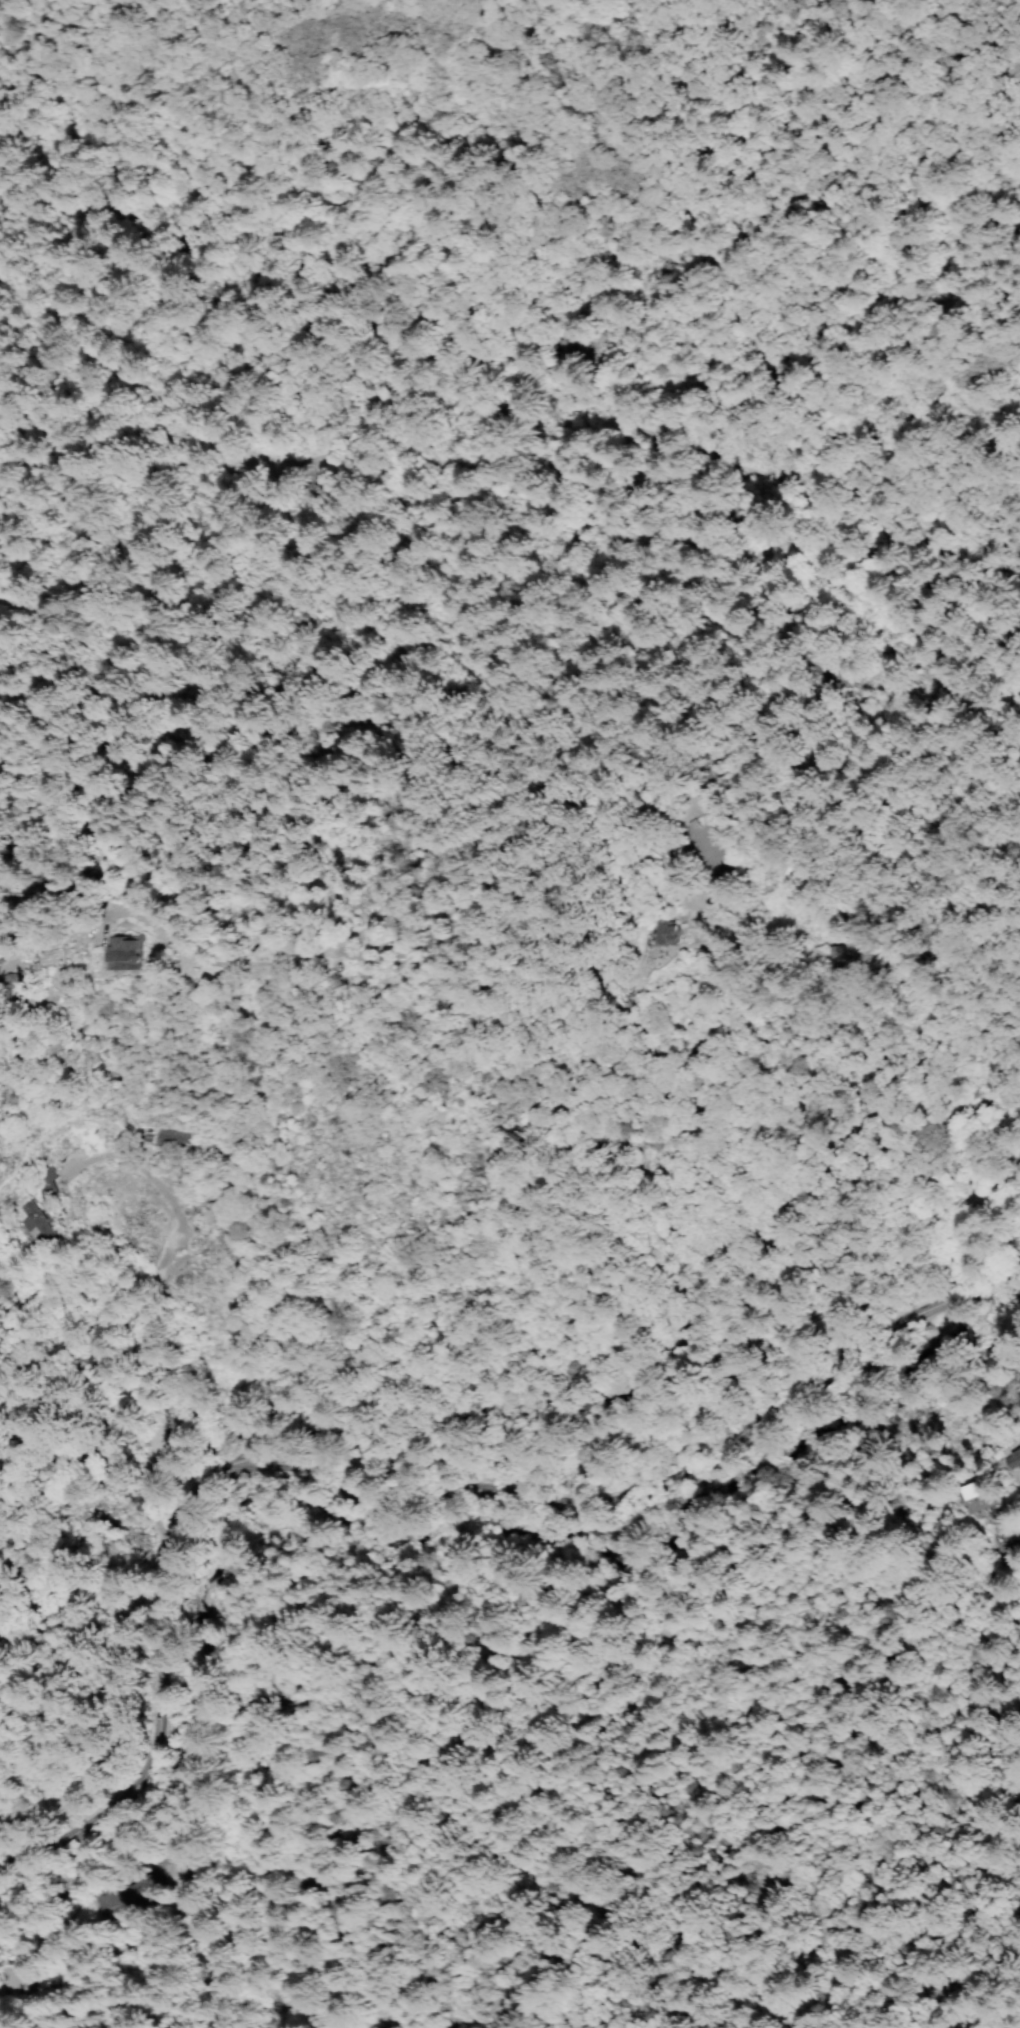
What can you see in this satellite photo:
road: (320, 476)
road: (628, 815)
crop: (854, 878)
building: (659, 932)
road: (851, 933)
building: (121, 950)
building: (831, 959)
building: (166, 1138)
building: (42, 1182)
building: (28, 1223)
road: (153, 1273)
road: (1017, 1286)
road: (651, 1370)
building: (129, 1438)
road: (688, 1454)
building: (1014, 1456)
road: (240, 1462)
road: (294, 1465)
building: (965, 1490)
road: (1011, 1545)
road: (997, 1582)
road: (905, 1649)
road: (137, 1678)
road: (281, 1708)
road: (660, 1743)
crop: (222, 1855)
building: (117, 1891)
building: (8, 1977)

